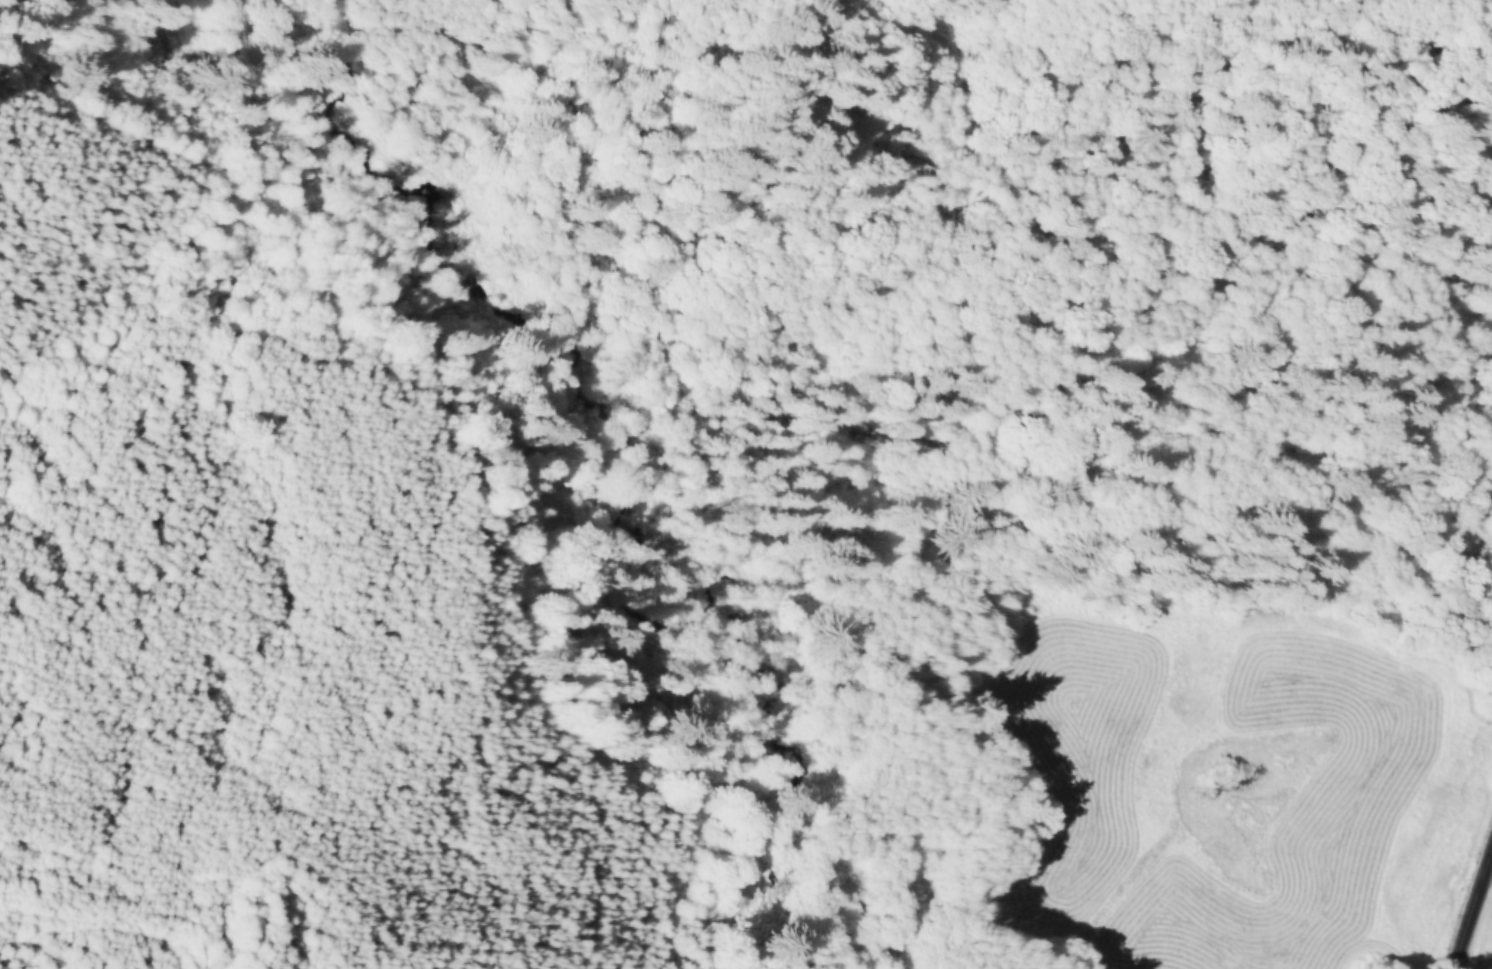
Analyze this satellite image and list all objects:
road: (1471, 907)

